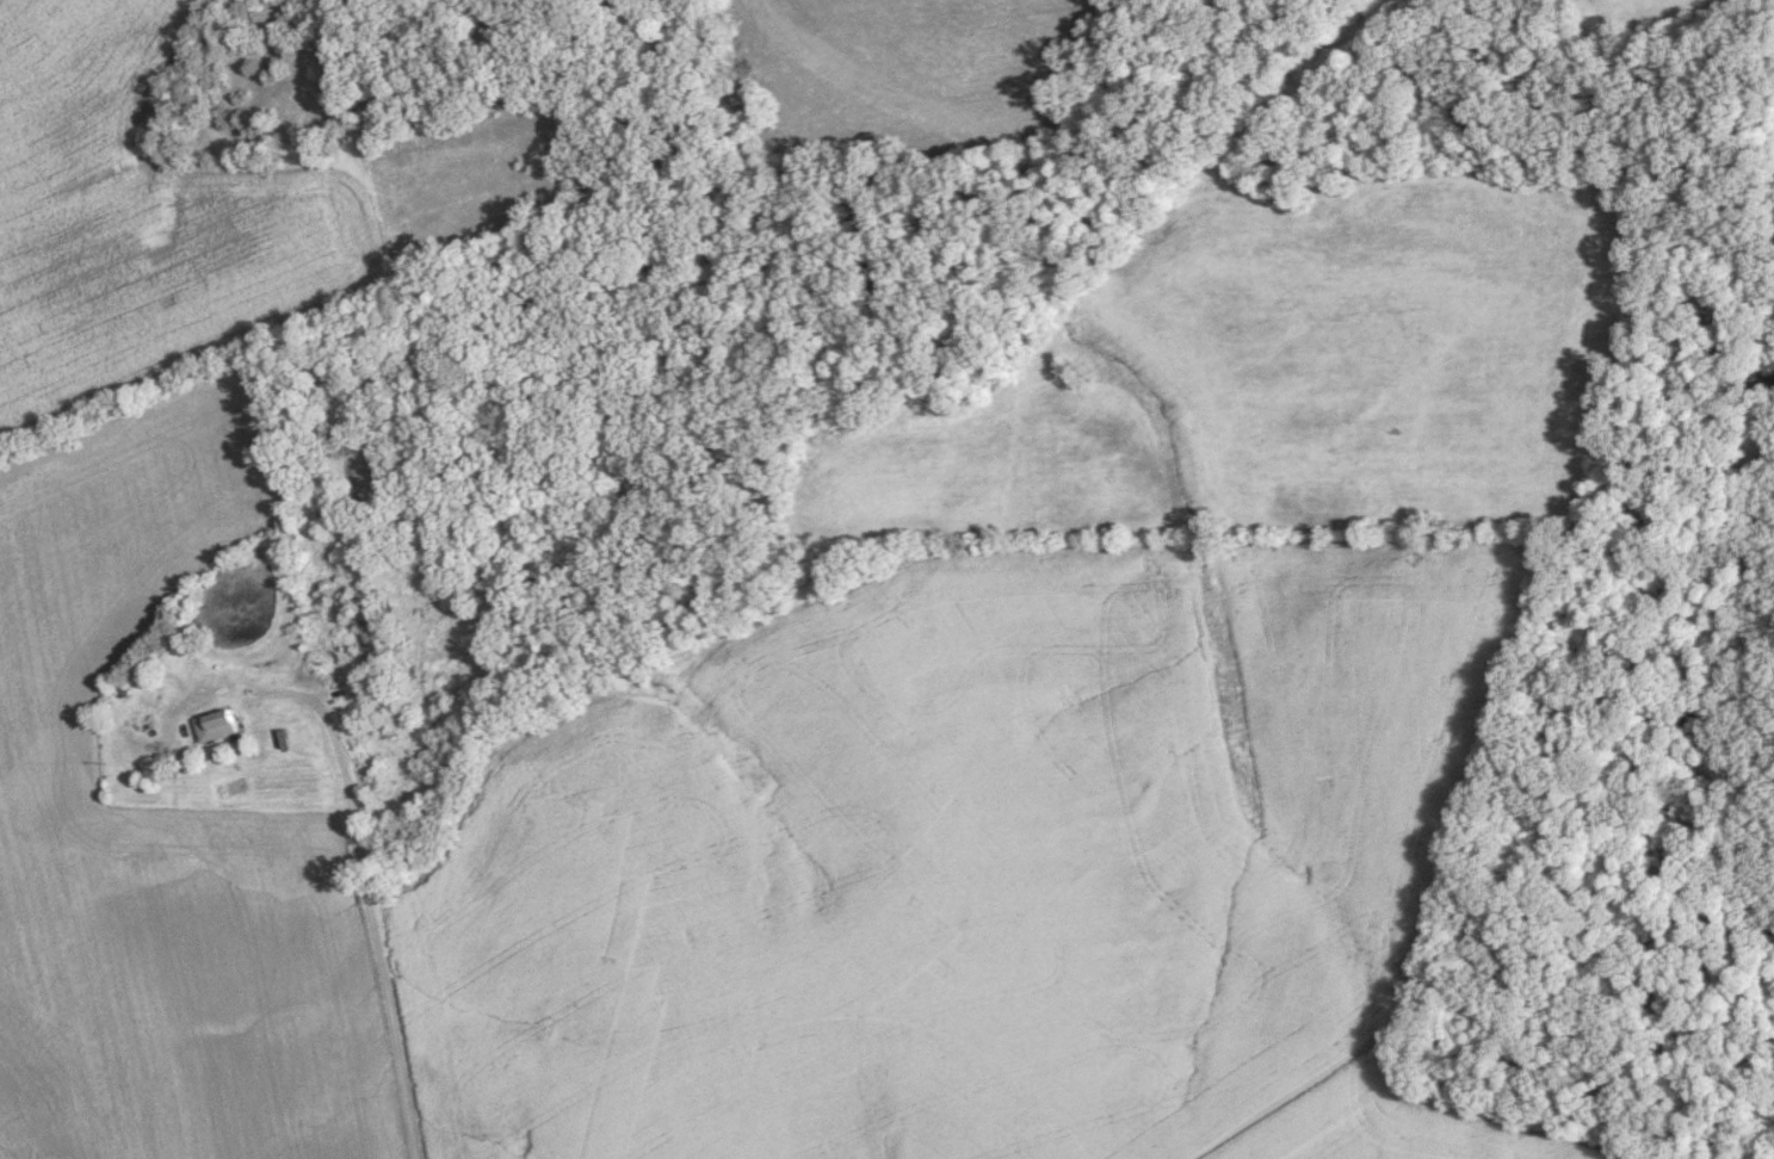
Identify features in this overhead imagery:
building: (375, 630)
building: (212, 725)
road: (365, 894)

